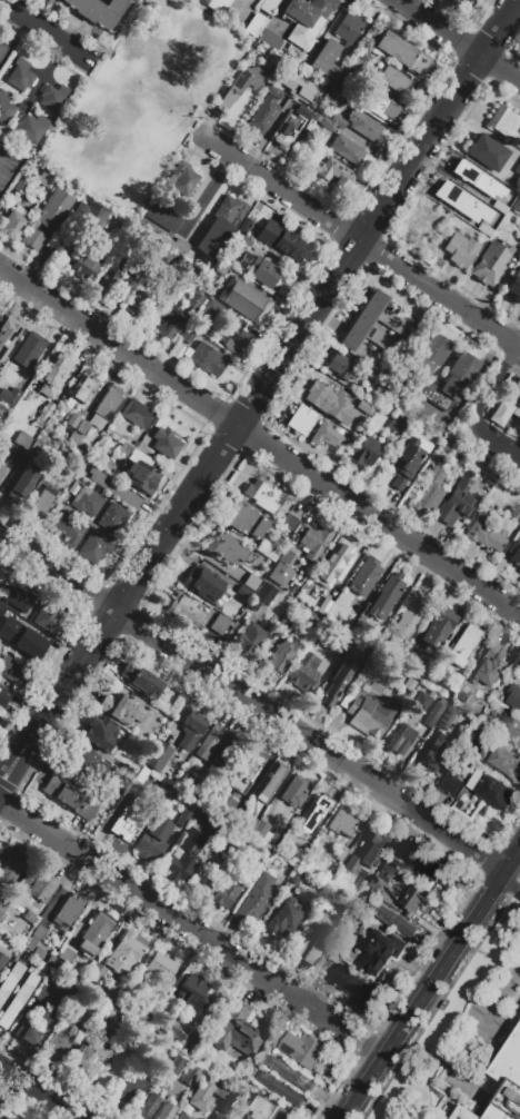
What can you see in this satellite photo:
building: (250, 0)
building: (204, 1)
building: (459, 2)
building: (218, 6)
building: (268, 6)
building: (99, 10)
building: (306, 20)
building: (256, 24)
building: (347, 27)
road: (46, 30)
road: (12, 36)
building: (268, 39)
road: (116, 40)
road: (459, 40)
building: (402, 52)
building: (326, 59)
road: (212, 65)
building: (357, 65)
building: (20, 75)
building: (393, 79)
building: (242, 83)
road: (37, 85)
building: (303, 90)
building: (273, 91)
building: (54, 98)
park: (143, 100)
road: (207, 102)
building: (378, 103)
building: (6, 107)
building: (301, 111)
building: (262, 115)
road: (439, 120)
building: (331, 122)
building: (504, 122)
building: (366, 126)
building: (32, 128)
building: (287, 129)
road: (192, 130)
building: (300, 142)
building: (346, 150)
building: (486, 151)
road: (4, 152)
building: (517, 169)
building: (466, 172)
building: (332, 174)
building: (46, 178)
building: (182, 179)
road: (278, 186)
building: (20, 187)
building: (517, 204)
building: (464, 209)
building: (489, 211)
building: (92, 212)
building: (164, 217)
building: (47, 220)
building: (13, 224)
building: (221, 225)
building: (244, 225)
building: (476, 234)
building: (519, 239)
building: (281, 240)
building: (249, 242)
building: (173, 244)
building: (461, 250)
building: (490, 263)
building: (83, 267)
building: (207, 268)
building: (221, 268)
building: (264, 271)
building: (190, 274)
building: (108, 283)
building: (513, 286)
road: (440, 293)
building: (244, 300)
building: (138, 305)
building: (0, 310)
building: (212, 311)
building: (170, 321)
building: (373, 331)
building: (8, 333)
building: (188, 336)
building: (234, 340)
building: (27, 353)
road: (514, 355)
building: (207, 358)
building: (343, 367)
building: (461, 373)
building: (54, 374)
building: (516, 387)
building: (82, 388)
building: (19, 390)
road: (490, 392)
building: (321, 397)
park: (507, 405)
building: (357, 406)
building: (102, 409)
building: (503, 412)
building: (137, 413)
building: (302, 419)
building: (73, 420)
building: (396, 423)
building: (328, 435)
building: (166, 438)
road: (496, 438)
building: (23, 440)
road: (260, 440)
building: (136, 444)
building: (444, 446)
building: (36, 449)
building: (366, 450)
building: (4, 458)
building: (408, 459)
building: (54, 471)
building: (142, 476)
building: (22, 484)
building: (114, 488)
road: (193, 492)
building: (428, 492)
building: (262, 495)
building: (87, 501)
building: (43, 502)
building: (457, 503)
building: (113, 517)
building: (247, 521)
building: (290, 522)
building: (484, 529)
building: (69, 531)
building: (313, 543)
building: (94, 546)
building: (228, 548)
building: (267, 551)
building: (516, 555)
building: (338, 556)
building: (282, 567)
building: (519, 571)
building: (0, 580)
building: (366, 580)
building: (253, 585)
building: (204, 591)
building: (294, 591)
building: (242, 597)
building: (264, 598)
building: (0, 601)
building: (386, 601)
building: (20, 602)
building: (329, 610)
building: (187, 612)
building: (50, 618)
building: (410, 621)
building: (347, 622)
building: (291, 624)
building: (221, 627)
building: (314, 630)
building: (440, 631)
building: (371, 638)
building: (252, 641)
building: (29, 644)
building: (464, 647)
building: (412, 655)
building: (282, 660)
building: (498, 662)
building: (391, 670)
building: (13, 672)
building: (307, 675)
building: (518, 675)
building: (139, 679)
building: (340, 683)
building: (410, 686)
building: (456, 687)
building: (491, 695)
building: (4, 697)
building: (514, 700)
building: (139, 701)
road: (251, 703)
building: (422, 704)
building: (121, 707)
building: (369, 713)
building: (434, 717)
building: (443, 727)
building: (193, 732)
building: (513, 734)
building: (401, 742)
building: (113, 743)
building: (210, 746)
building: (226, 755)
building: (160, 759)
building: (433, 762)
building: (250, 764)
road: (13, 765)
building: (89, 765)
building: (499, 765)
building: (188, 782)
building: (271, 785)
building: (448, 788)
building: (297, 794)
building: (498, 795)
building: (70, 799)
building: (222, 808)
building: (318, 812)
building: (128, 823)
building: (186, 823)
building: (210, 825)
building: (343, 825)
building: (249, 826)
building: (263, 834)
building: (154, 842)
building: (369, 843)
building: (303, 845)
building: (403, 854)
building: (187, 858)
building: (342, 858)
road: (517, 859)
road: (511, 860)
building: (347, 865)
building: (10, 868)
building: (257, 872)
building: (390, 872)
building: (437, 873)
building: (366, 881)
building: (39, 888)
building: (378, 889)
road: (508, 890)
building: (228, 897)
building: (258, 902)
building: (324, 902)
building: (417, 902)
building: (0, 903)
building: (336, 910)
building: (1, 913)
road: (169, 913)
building: (70, 915)
building: (390, 919)
building: (280, 920)
building: (29, 929)
building: (98, 933)
building: (37, 940)
building: (302, 943)
building: (379, 952)
building: (128, 953)
building: (39, 955)
building: (69, 957)
building: (313, 959)
road: (416, 961)
building: (2, 963)
building: (51, 963)
building: (58, 968)
building: (162, 970)
building: (98, 976)
building: (10, 983)
building: (354, 988)
road: (509, 988)
road: (422, 996)
building: (54, 998)
building: (193, 998)
building: (19, 1002)
building: (446, 1009)
road: (493, 1011)
building: (139, 1019)
building: (49, 1021)
building: (86, 1021)
building: (117, 1028)
building: (172, 1030)
building: (239, 1034)
building: (30, 1037)
building: (278, 1039)
road: (360, 1041)
building: (147, 1044)
building: (59, 1047)
building: (304, 1053)
building: (87, 1062)
building: (174, 1069)
building: (113, 1070)
building: (292, 1078)
building: (192, 1079)
building: (510, 1083)
road: (40, 1092)
building: (133, 1092)
building: (282, 1093)
building: (224, 1098)
building: (190, 1107)
building: (150, 1108)
building: (269, 1111)
building: (168, 1112)
building: (470, 1113)
building: (1, 1118)
building: (182, 1118)

